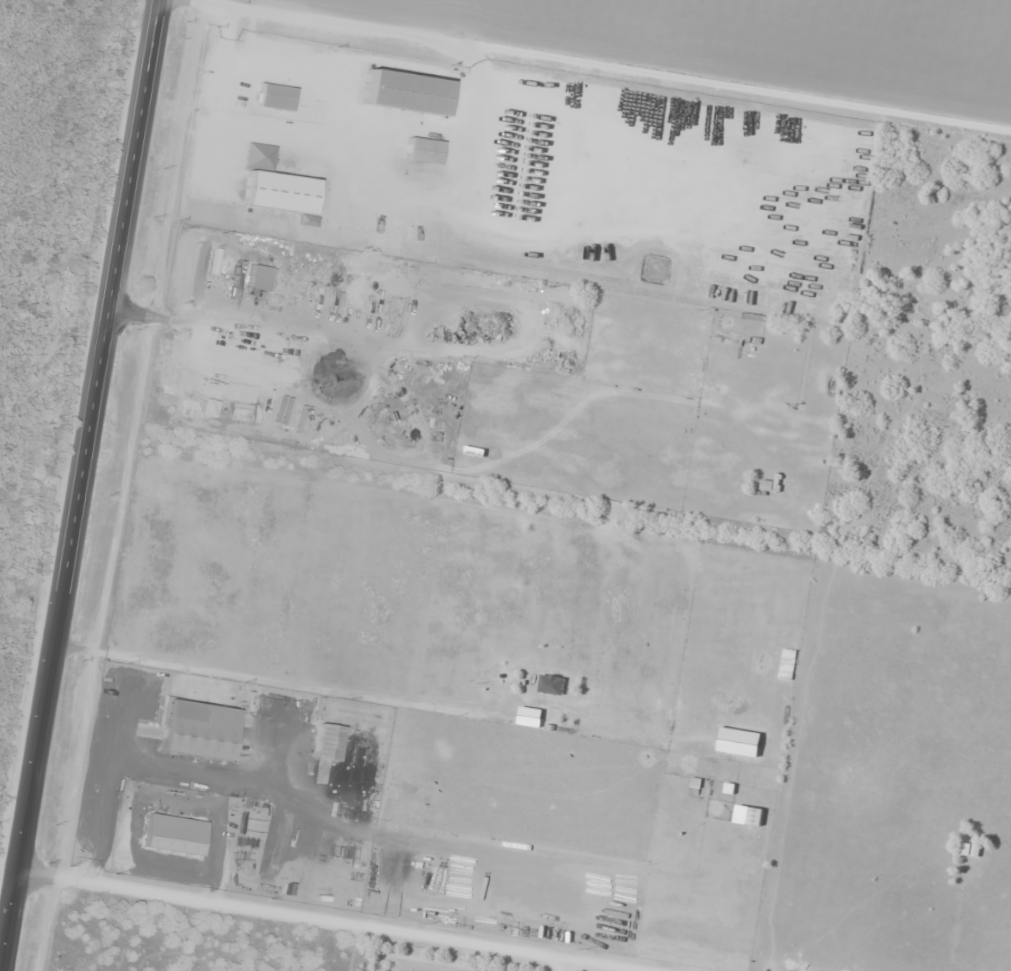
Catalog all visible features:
road: (592, 68)
building: (277, 97)
building: (424, 151)
building: (276, 186)
road: (84, 485)
building: (766, 486)
road: (34, 577)

